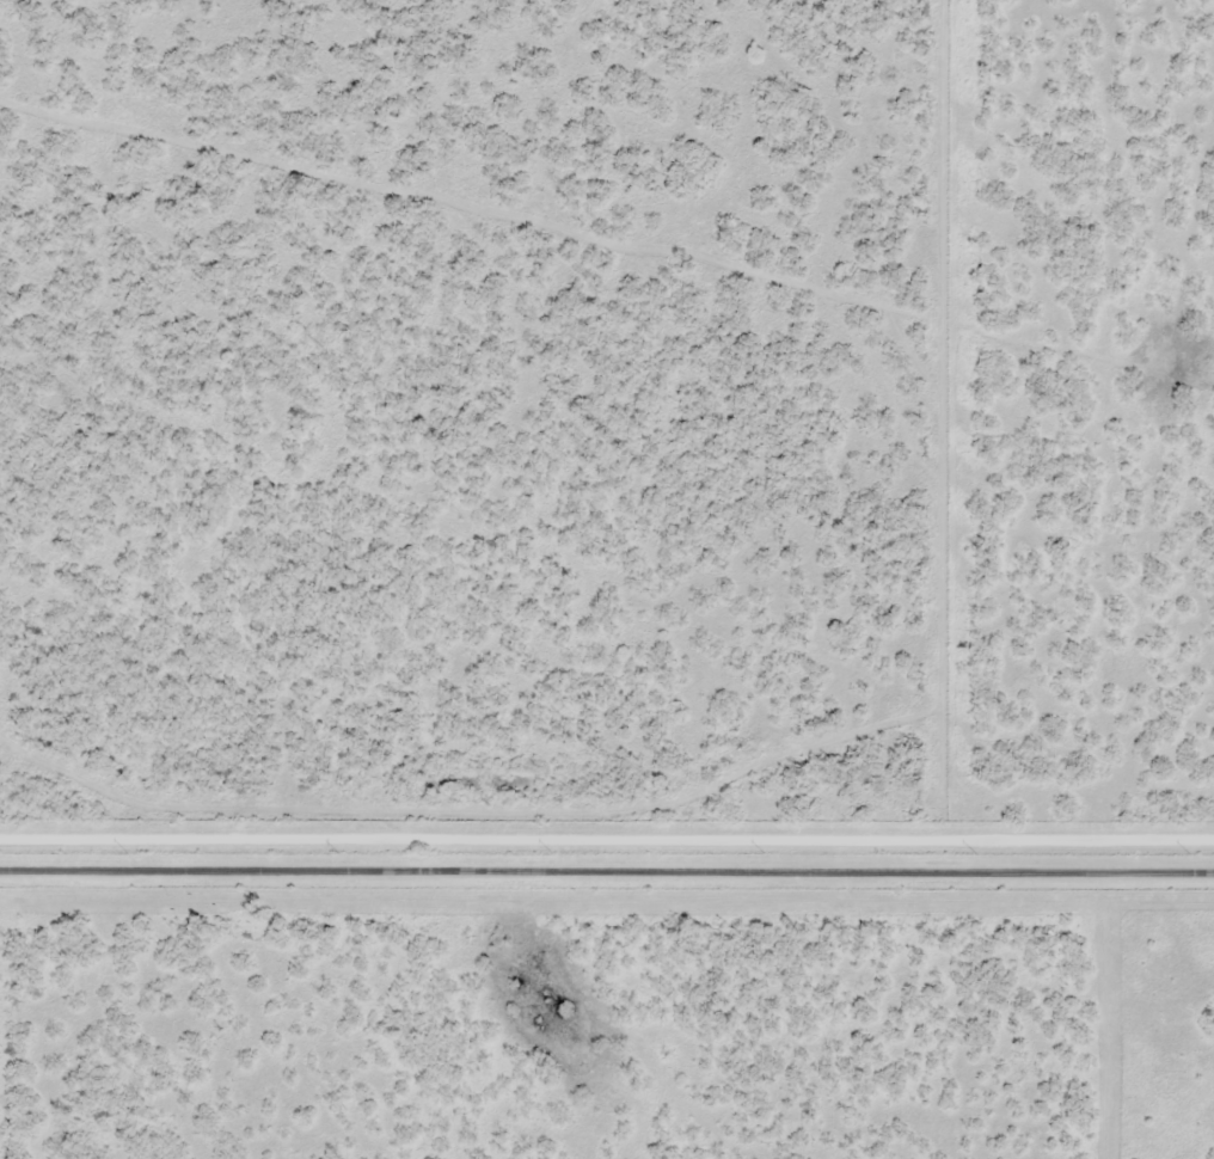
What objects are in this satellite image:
road: (607, 842)
road: (607, 878)

